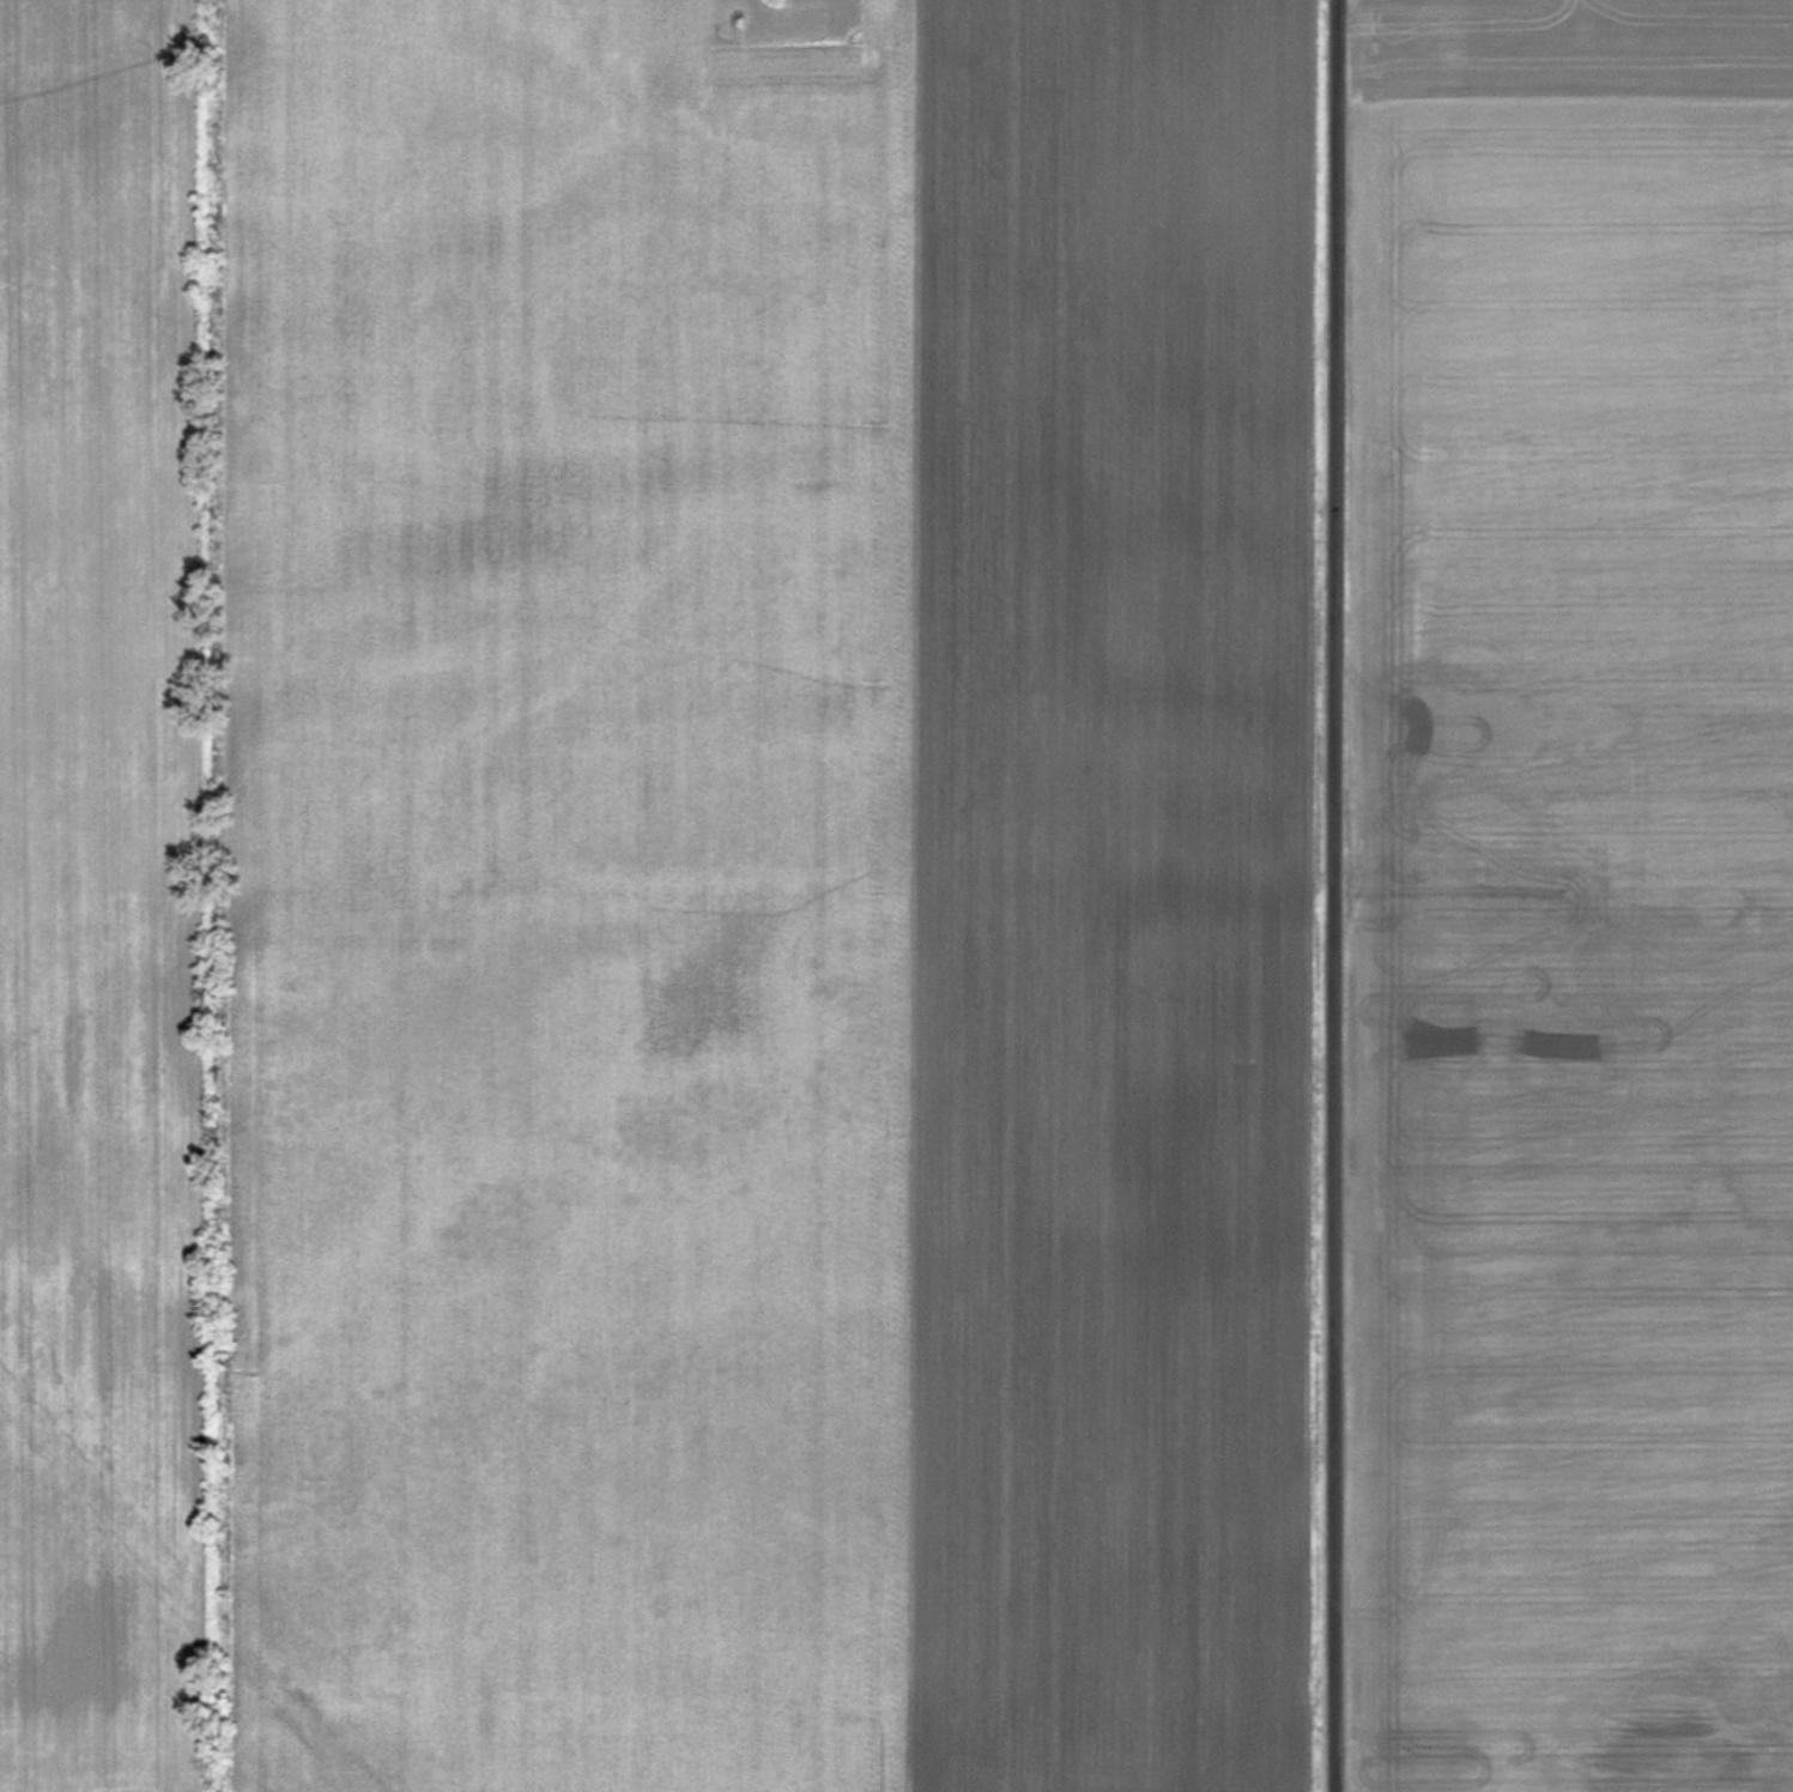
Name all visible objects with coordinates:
road: (1335, 896)

